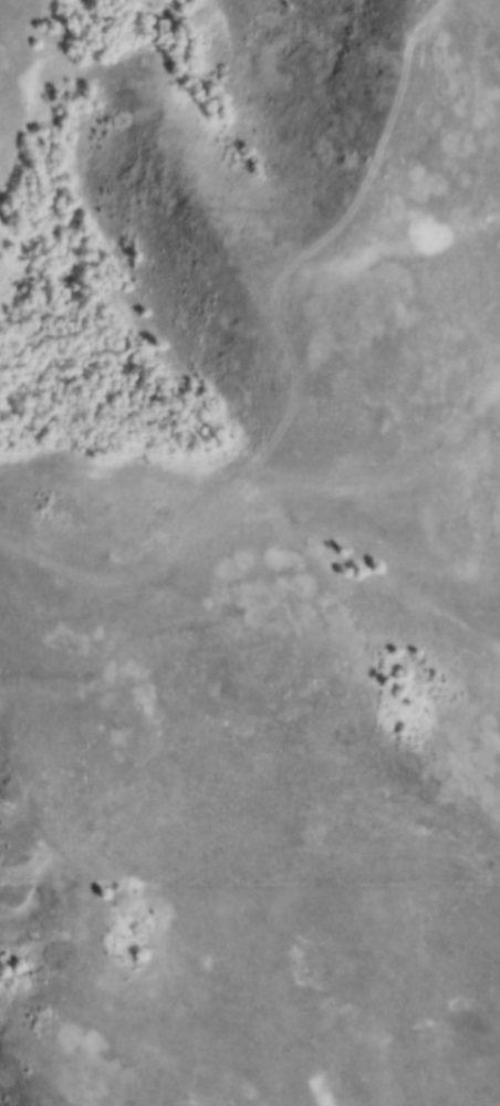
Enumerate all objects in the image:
road: (303, 364)

